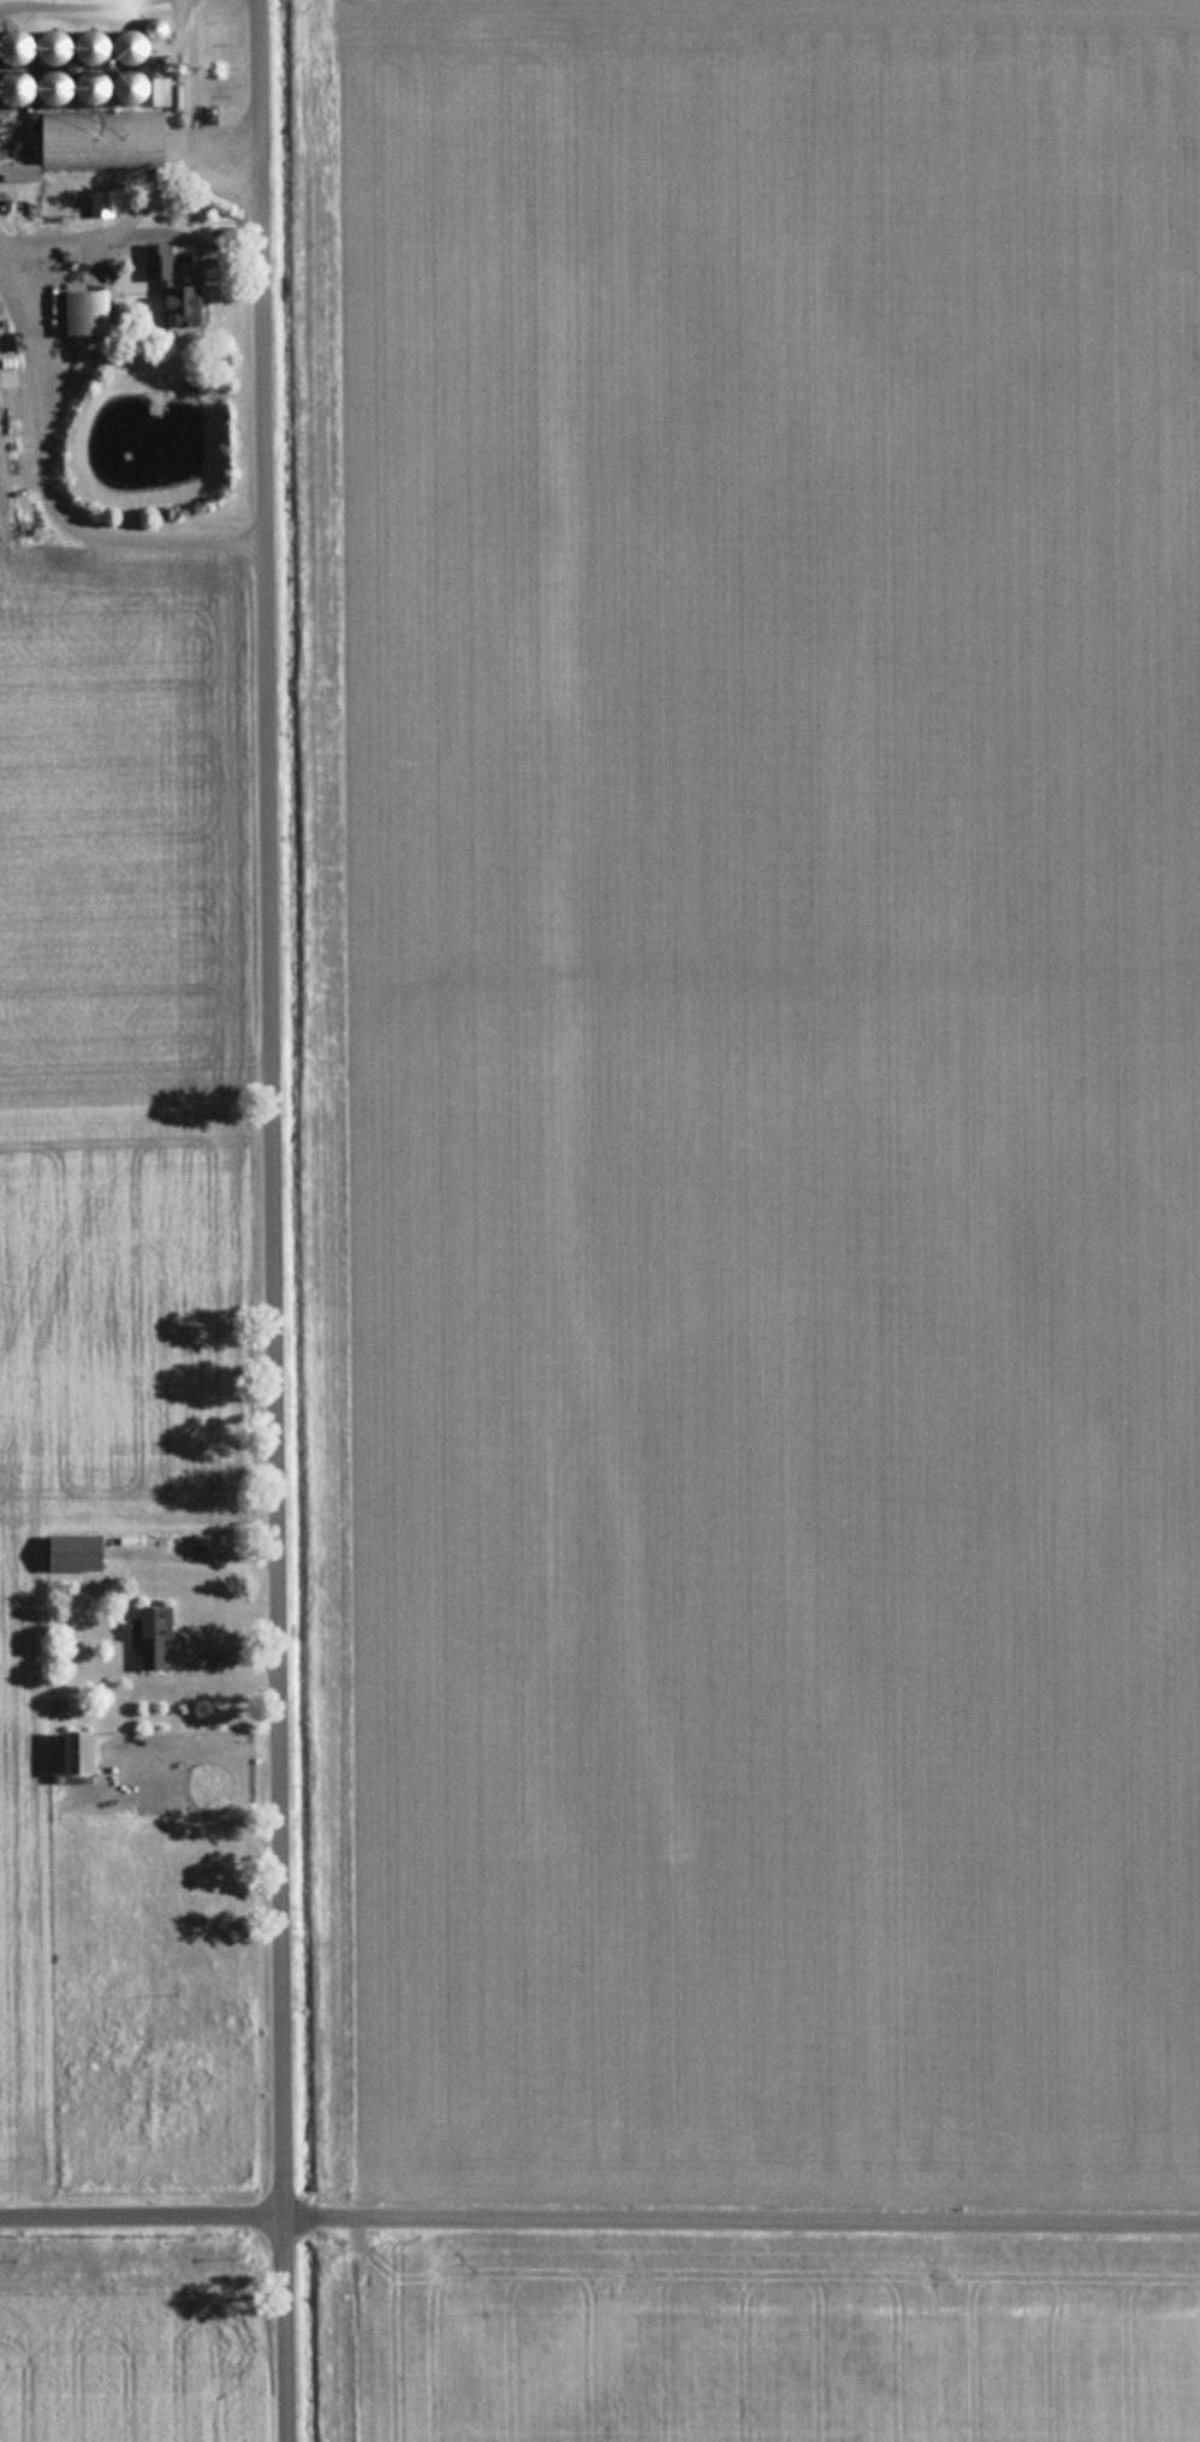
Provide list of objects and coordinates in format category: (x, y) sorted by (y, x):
building: (88, 66)
building: (105, 137)
building: (101, 202)
building: (174, 289)
building: (88, 311)
road: (275, 1220)
building: (78, 1550)
building: (156, 1633)
building: (82, 1749)
building: (945, 2187)
road: (599, 2226)

